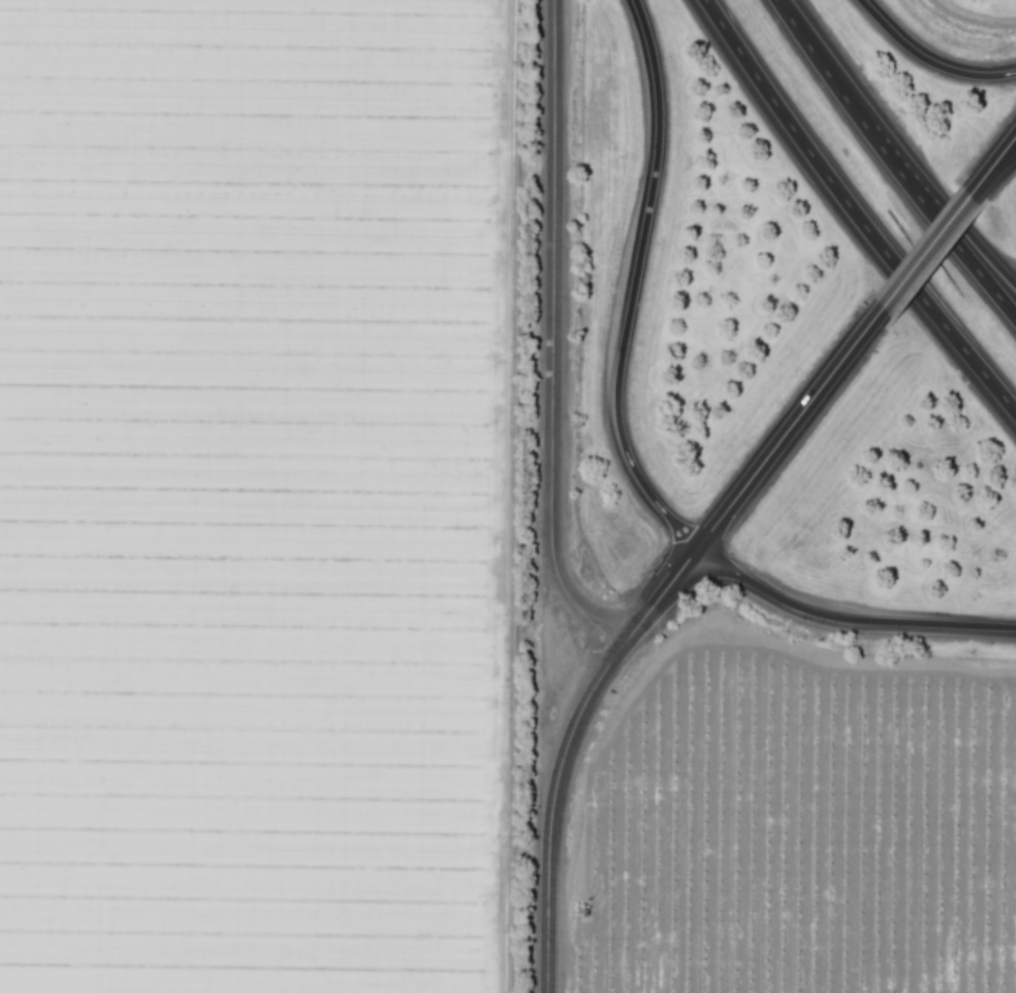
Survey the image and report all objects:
road: (928, 60)
road: (1006, 149)
road: (1006, 157)
road: (891, 163)
road: (983, 179)
road: (853, 212)
road: (962, 227)
road: (925, 253)
road: (632, 285)
road: (551, 336)
road: (789, 428)
street lamp: (658, 558)
road: (658, 597)
road: (847, 619)
road: (550, 812)

